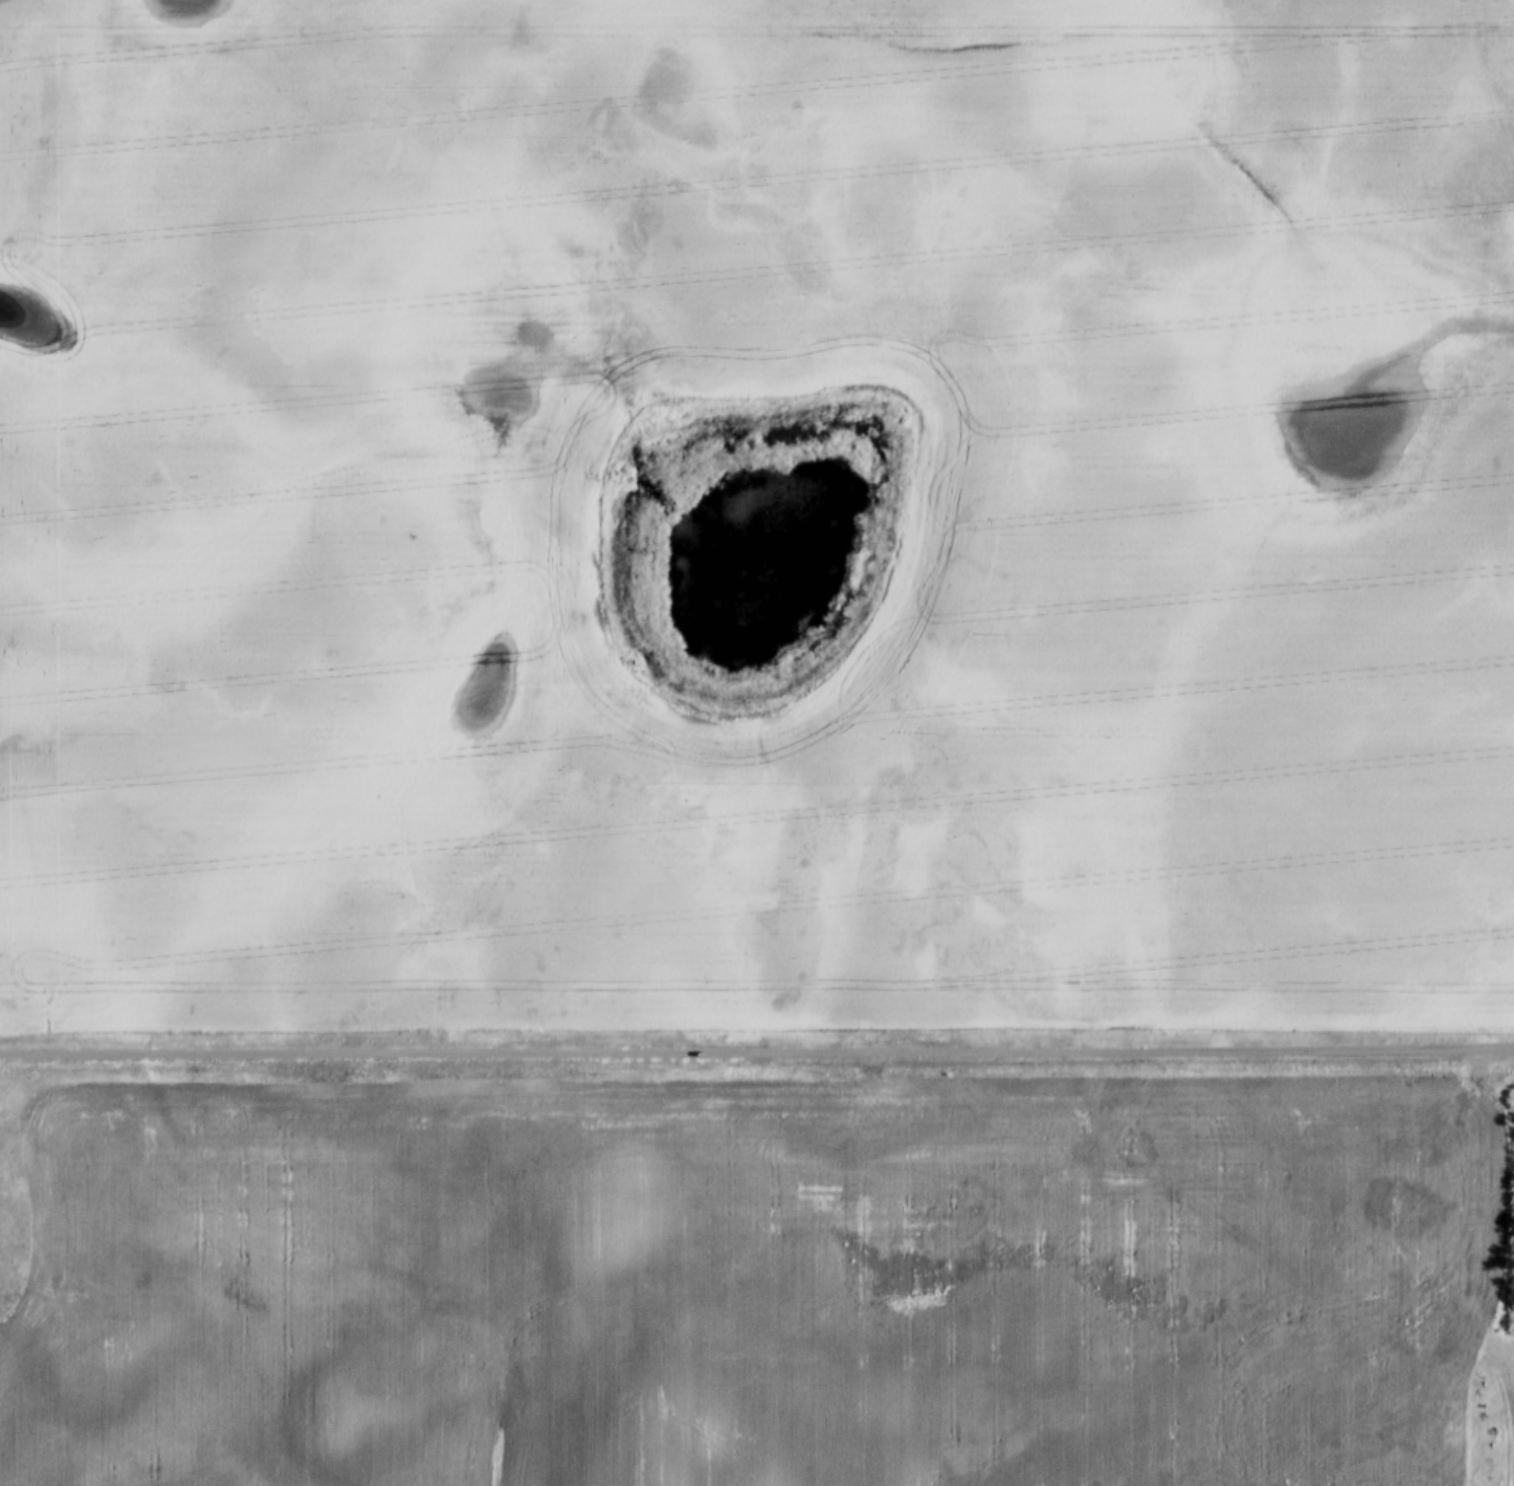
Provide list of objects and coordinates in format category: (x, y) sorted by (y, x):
road: (757, 1052)

